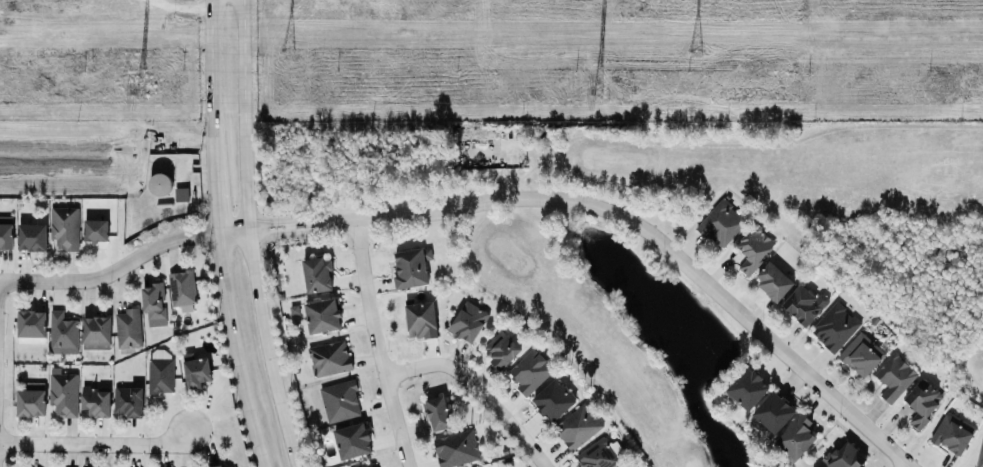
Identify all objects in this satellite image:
power tower: (287, 50)
power tower: (693, 51)
road: (212, 87)
power tower: (598, 95)
power tower: (139, 96)
road: (554, 151)
building: (160, 184)
building: (181, 195)
road: (216, 204)
road: (309, 220)
road: (270, 222)
building: (722, 224)
road: (290, 227)
building: (64, 228)
building: (95, 230)
road: (310, 231)
building: (6, 233)
road: (252, 235)
road: (271, 235)
building: (31, 237)
road: (657, 239)
building: (754, 248)
road: (127, 263)
building: (412, 268)
building: (318, 275)
building: (774, 281)
building: (182, 288)
park: (592, 298)
building: (805, 304)
building: (154, 305)
building: (323, 316)
building: (421, 320)
building: (468, 322)
building: (31, 327)
building: (835, 328)
building: (128, 329)
building: (96, 333)
building: (62, 334)
road: (232, 335)
road: (378, 345)
building: (501, 349)
building: (861, 355)
building: (329, 359)
building: (196, 370)
building: (530, 372)
building: (160, 376)
building: (894, 377)
building: (748, 388)
road: (477, 391)
building: (63, 393)
building: (31, 400)
building: (554, 400)
building: (127, 401)
building: (340, 401)
building: (96, 402)
building: (923, 403)
building: (774, 412)
building: (438, 413)
building: (578, 427)
building: (953, 433)
building: (797, 438)
building: (353, 441)
road: (96, 444)
building: (456, 449)
road: (258, 451)
building: (600, 454)
building: (846, 456)
building: (980, 456)
building: (368, 465)
building: (218, 466)

